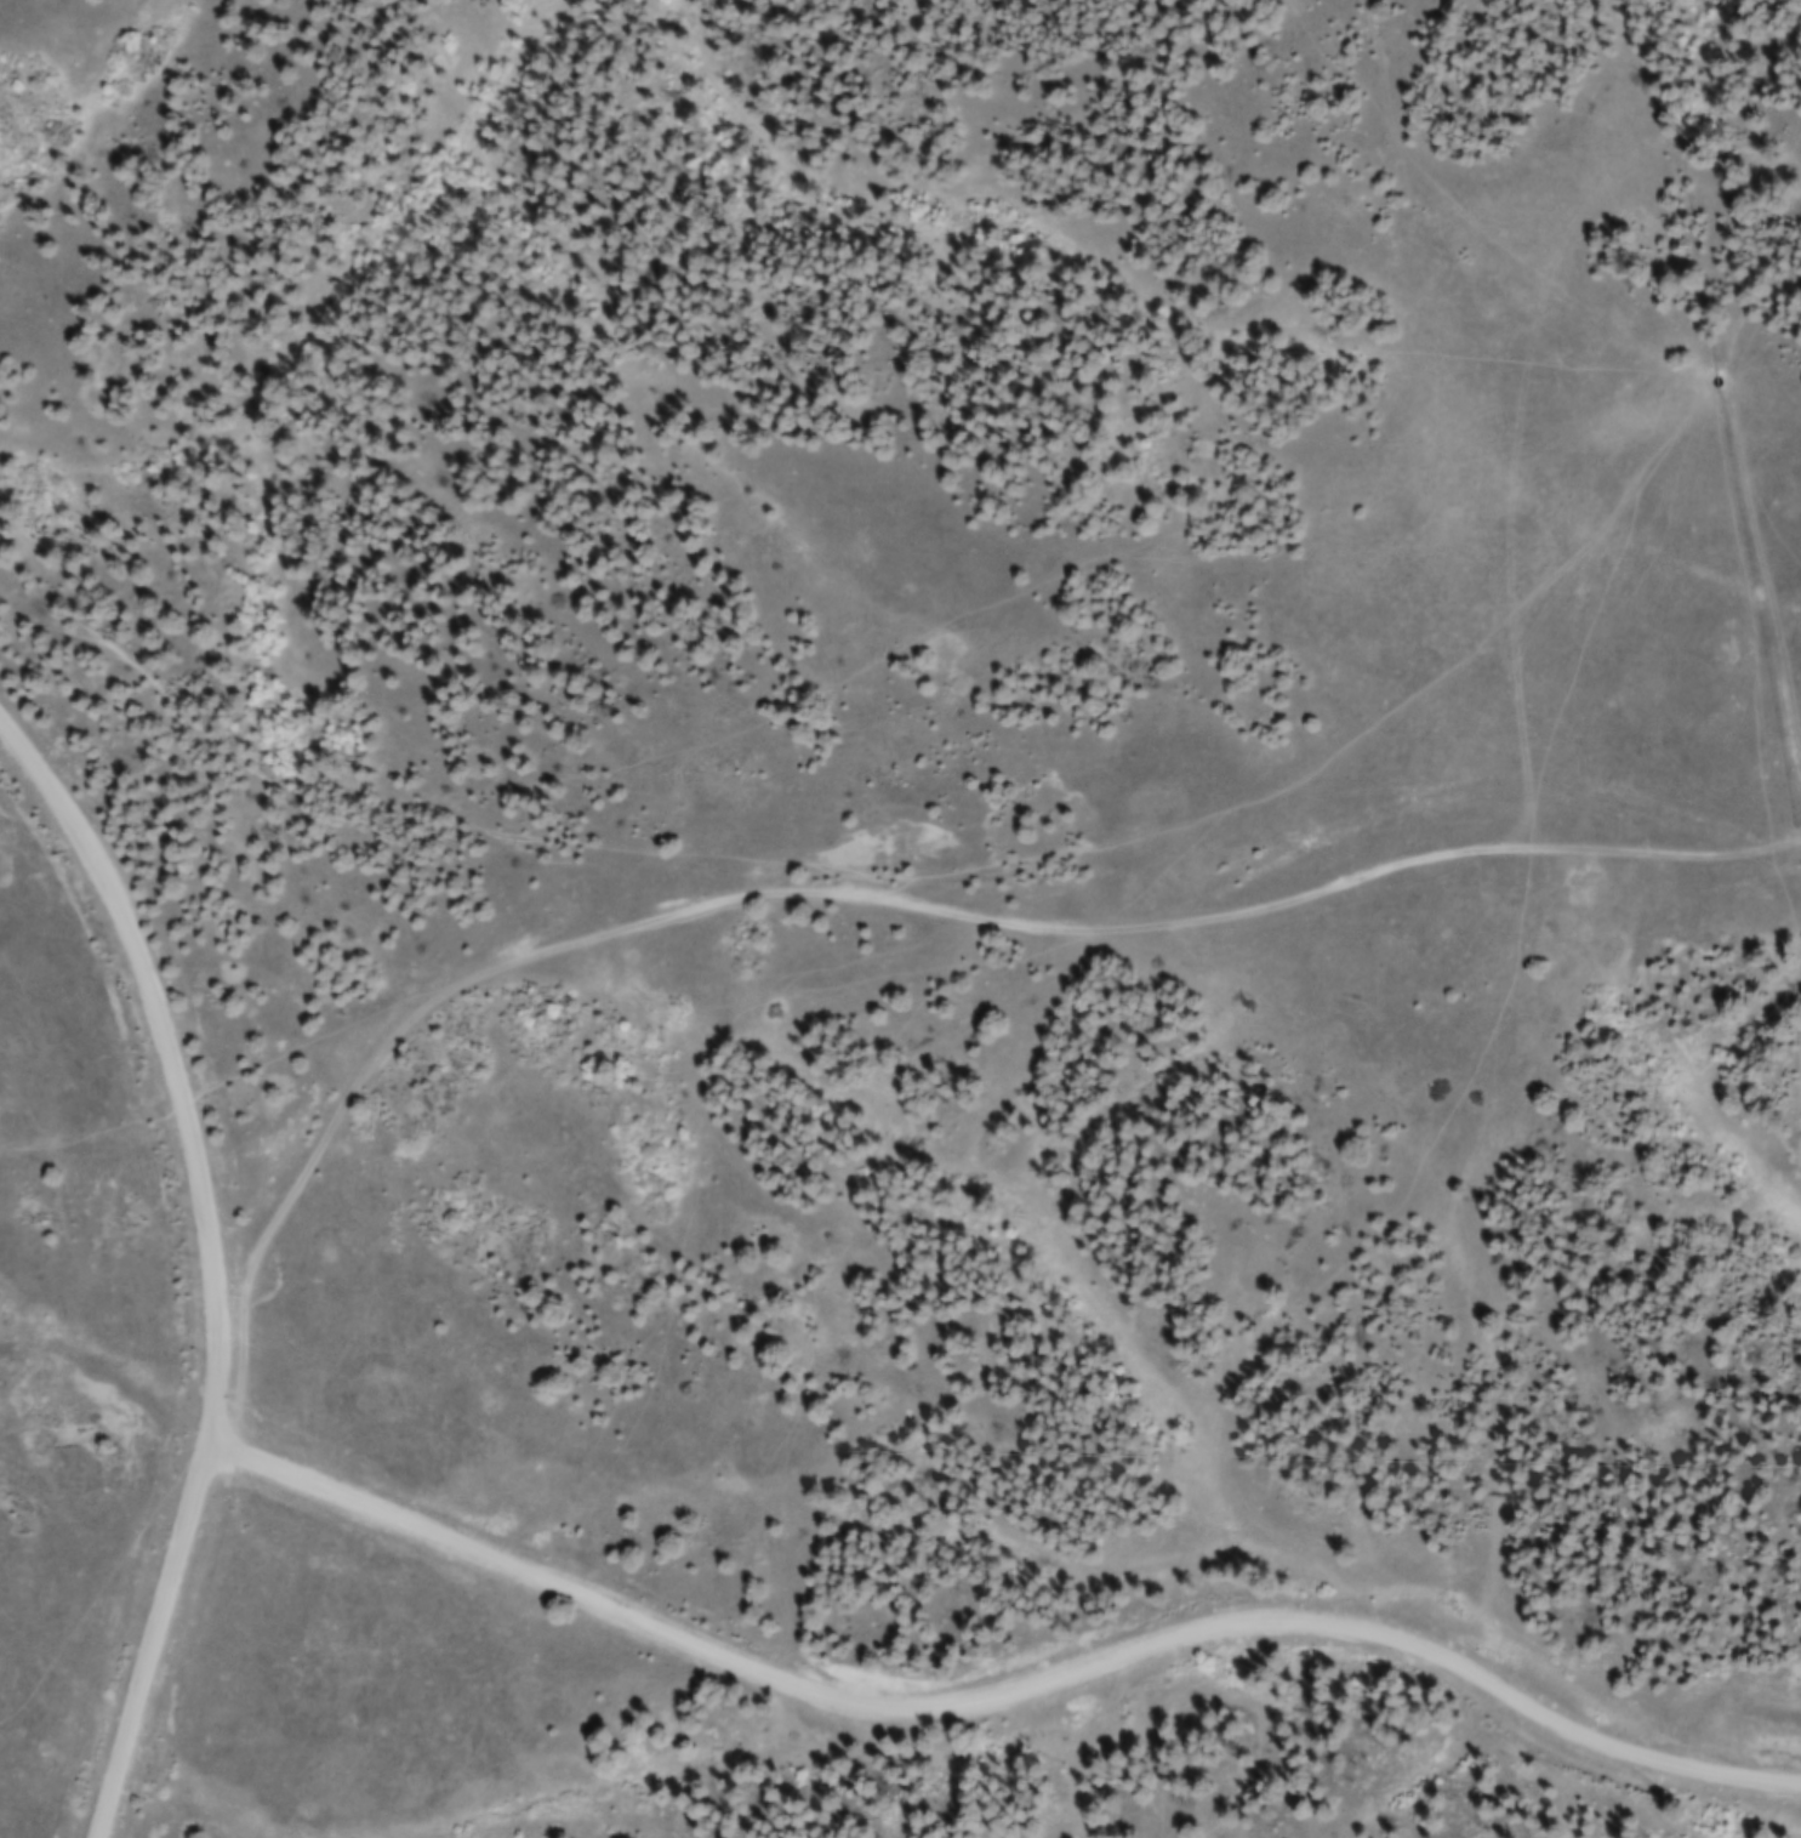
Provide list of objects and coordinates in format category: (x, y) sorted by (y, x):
road: (1746, 512)
road: (914, 903)
road: (213, 1262)
road: (999, 1695)

